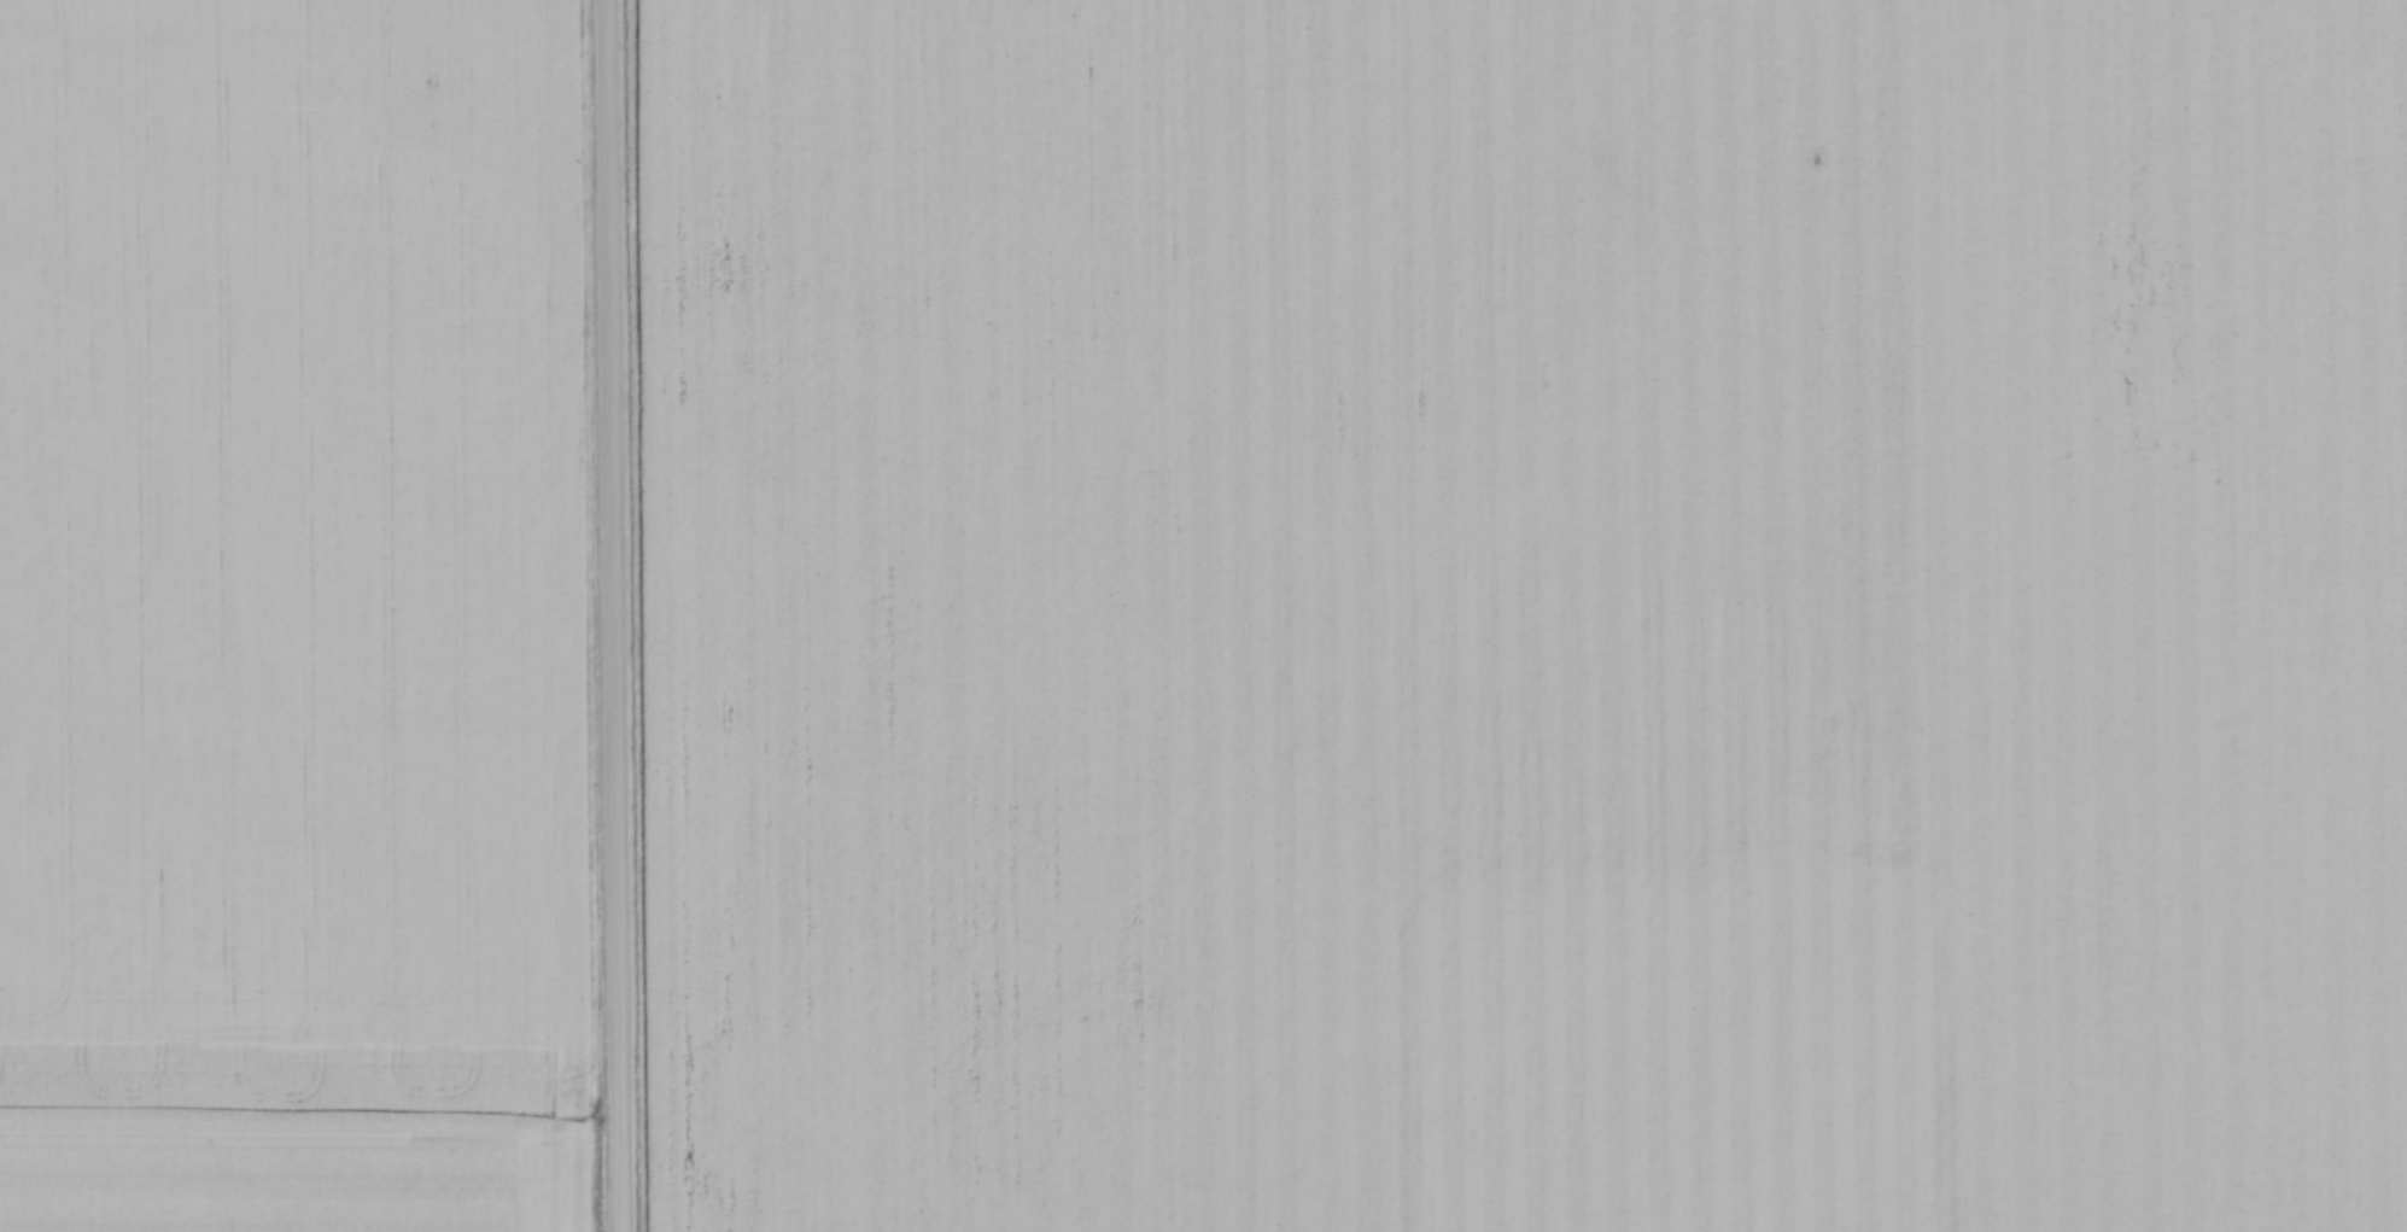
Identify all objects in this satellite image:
crop: (1520, 614)
road: (612, 615)
crop: (291, 617)

